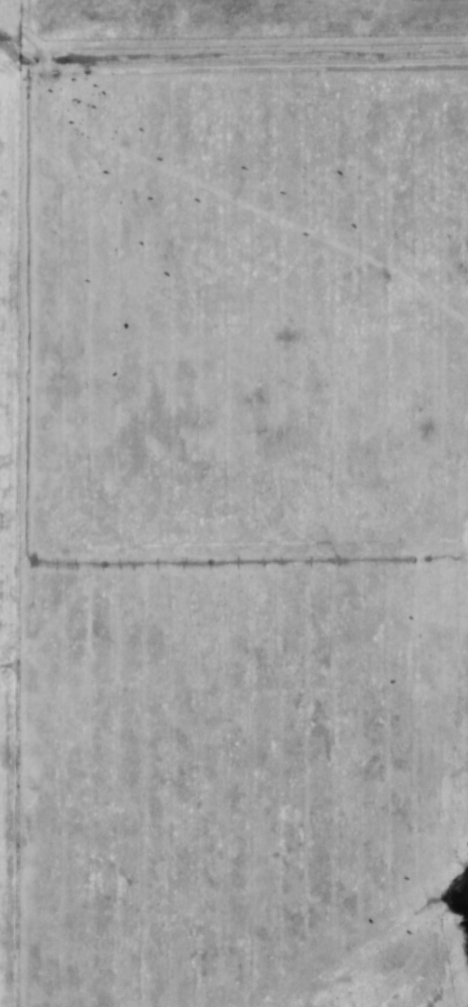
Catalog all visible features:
crop: (15, 338)
crop: (9, 838)

